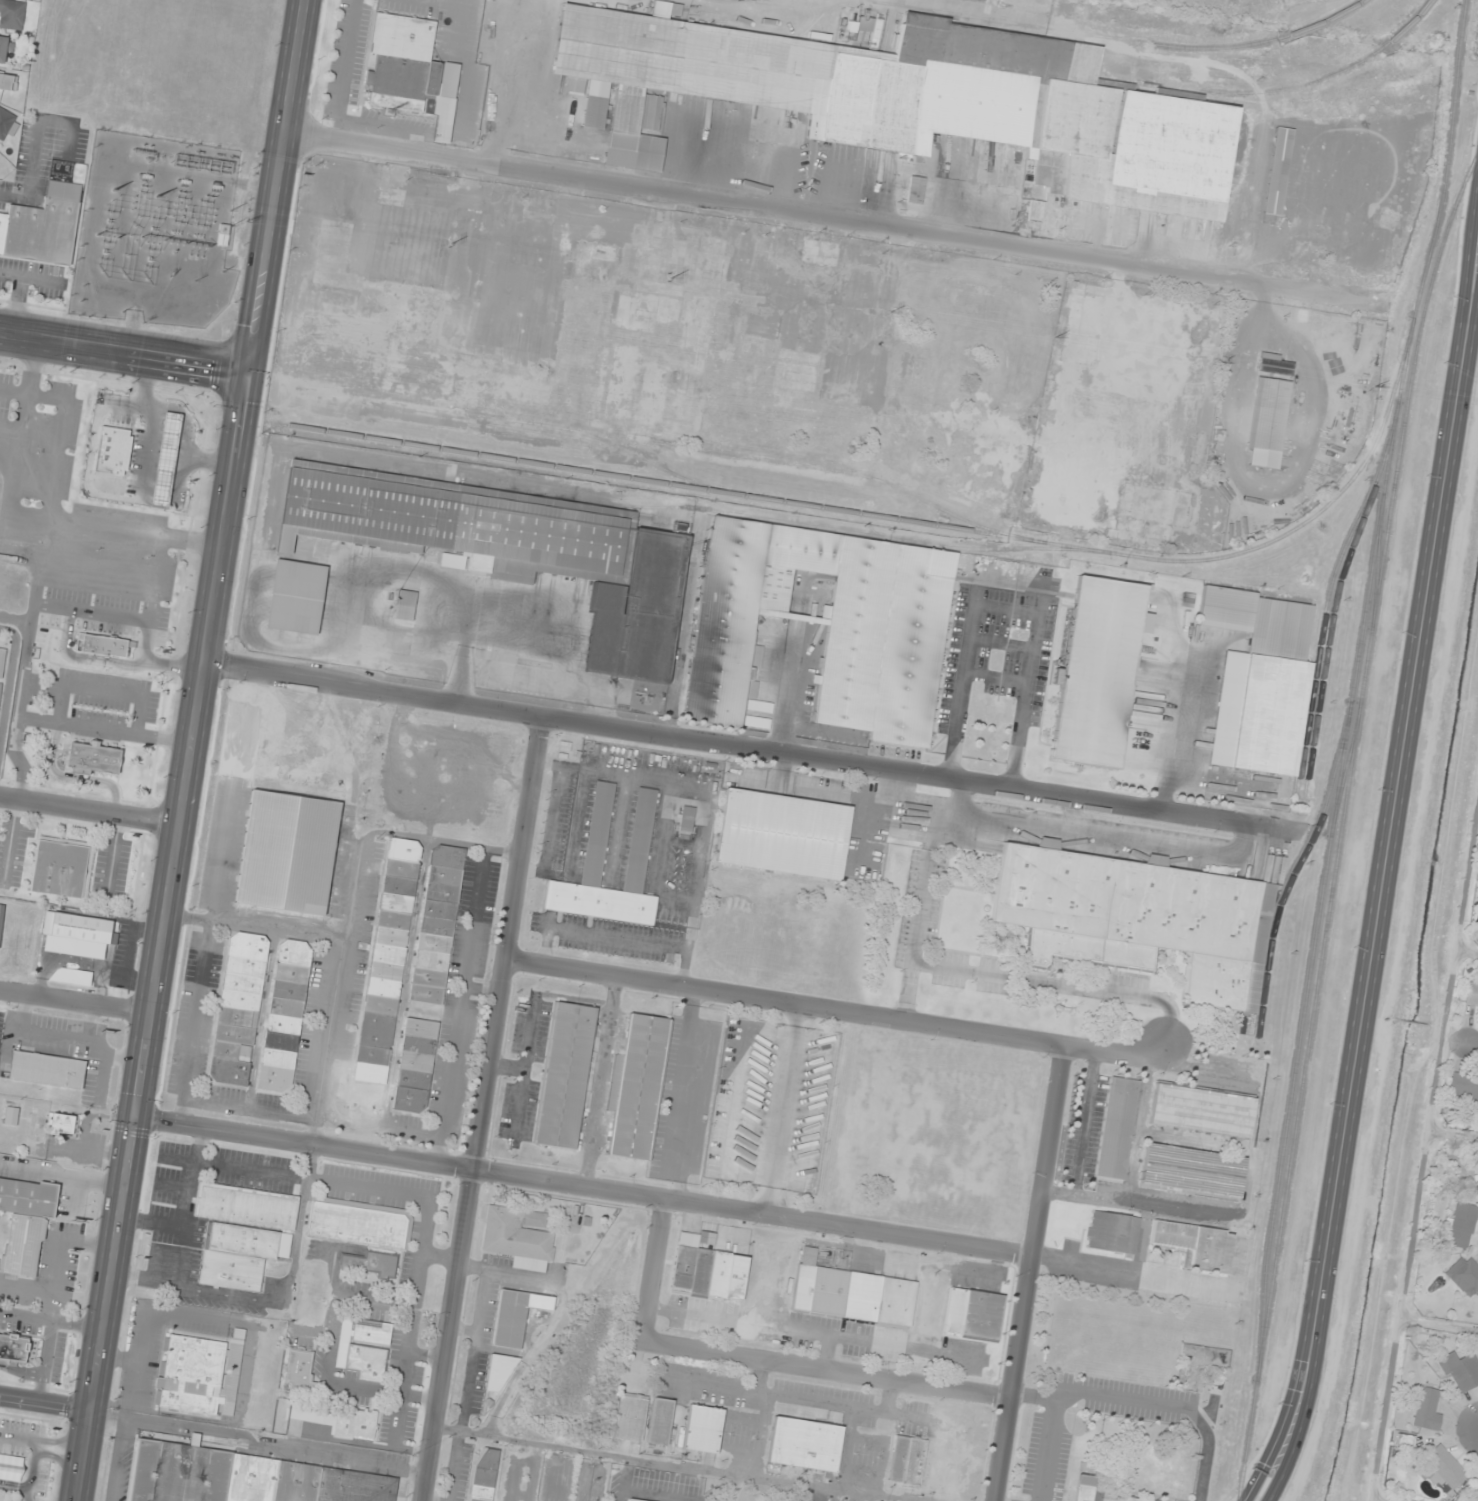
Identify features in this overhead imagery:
building: (11, 14)
railway: (1118, 37)
building: (5, 50)
building: (411, 71)
building: (8, 81)
railway: (1276, 92)
building: (914, 100)
building: (5, 122)
building: (1278, 171)
building: (915, 190)
road: (826, 214)
building: (42, 225)
power substation: (154, 231)
building: (223, 235)
building: (820, 252)
railway: (1428, 253)
building: (1092, 289)
building: (1076, 334)
road: (126, 351)
traffic signals: (253, 371)
building: (567, 373)
building: (1123, 373)
building: (907, 375)
building: (1123, 397)
building: (1173, 402)
building: (1079, 410)
building: (1267, 422)
building: (1199, 447)
building: (113, 450)
building: (165, 460)
building: (1159, 505)
building: (1001, 507)
building: (1220, 523)
railway: (1264, 543)
building: (513, 549)
building: (296, 597)
railway: (1333, 600)
building: (405, 605)
road: (90, 612)
building: (100, 645)
railway: (1317, 646)
road: (142, 656)
road: (82, 658)
building: (2, 661)
building: (881, 669)
building: (1260, 681)
building: (0, 686)
building: (760, 706)
building: (757, 722)
road: (751, 749)
road: (190, 750)
building: (94, 758)
road: (89, 811)
building: (686, 818)
railway: (1340, 819)
building: (783, 834)
building: (640, 835)
building: (287, 852)
building: (62, 867)
road: (1383, 876)
building: (1139, 918)
building: (437, 925)
building: (79, 928)
building: (389, 952)
building: (1471, 993)
road: (76, 1002)
building: (238, 1009)
road: (840, 1012)
building: (285, 1016)
road: (1475, 1045)
building: (47, 1069)
building: (414, 1074)
building: (565, 1075)
building: (1463, 1086)
building: (636, 1087)
road: (485, 1110)
building: (1202, 1110)
building: (11, 1116)
building: (61, 1124)
building: (1117, 1128)
building: (1192, 1170)
building: (1477, 1189)
road: (636, 1194)
building: (246, 1206)
building: (26, 1221)
building: (360, 1223)
building: (1461, 1225)
building: (1112, 1232)
building: (519, 1236)
building: (1195, 1245)
building: (241, 1255)
building: (372, 1263)
road: (659, 1269)
building: (707, 1269)
road: (1031, 1274)
building: (1464, 1276)
building: (853, 1296)
building: (973, 1314)
building: (516, 1316)
road: (52, 1320)
building: (12, 1348)
building: (364, 1348)
road: (45, 1361)
road: (830, 1367)
building: (1461, 1370)
road: (21, 1371)
building: (300, 1373)
building: (498, 1373)
building: (200, 1374)
road: (1117, 1394)
road: (1034, 1399)
road: (46, 1403)
building: (1425, 1408)
building: (629, 1417)
building: (659, 1421)
building: (342, 1422)
building: (702, 1429)
road: (43, 1443)
building: (804, 1444)
building: (906, 1460)
road: (670, 1464)
building: (10, 1467)
building: (1442, 1467)
road: (30, 1471)
building: (483, 1474)
building: (242, 1477)
building: (1086, 1484)
road: (14, 1487)
building: (1132, 1499)
building: (632, 1500)

